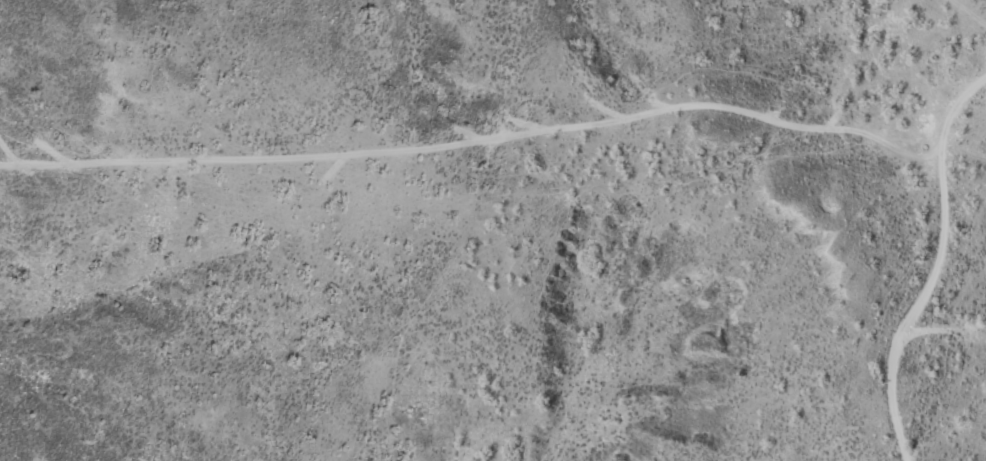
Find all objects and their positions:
road: (934, 267)

